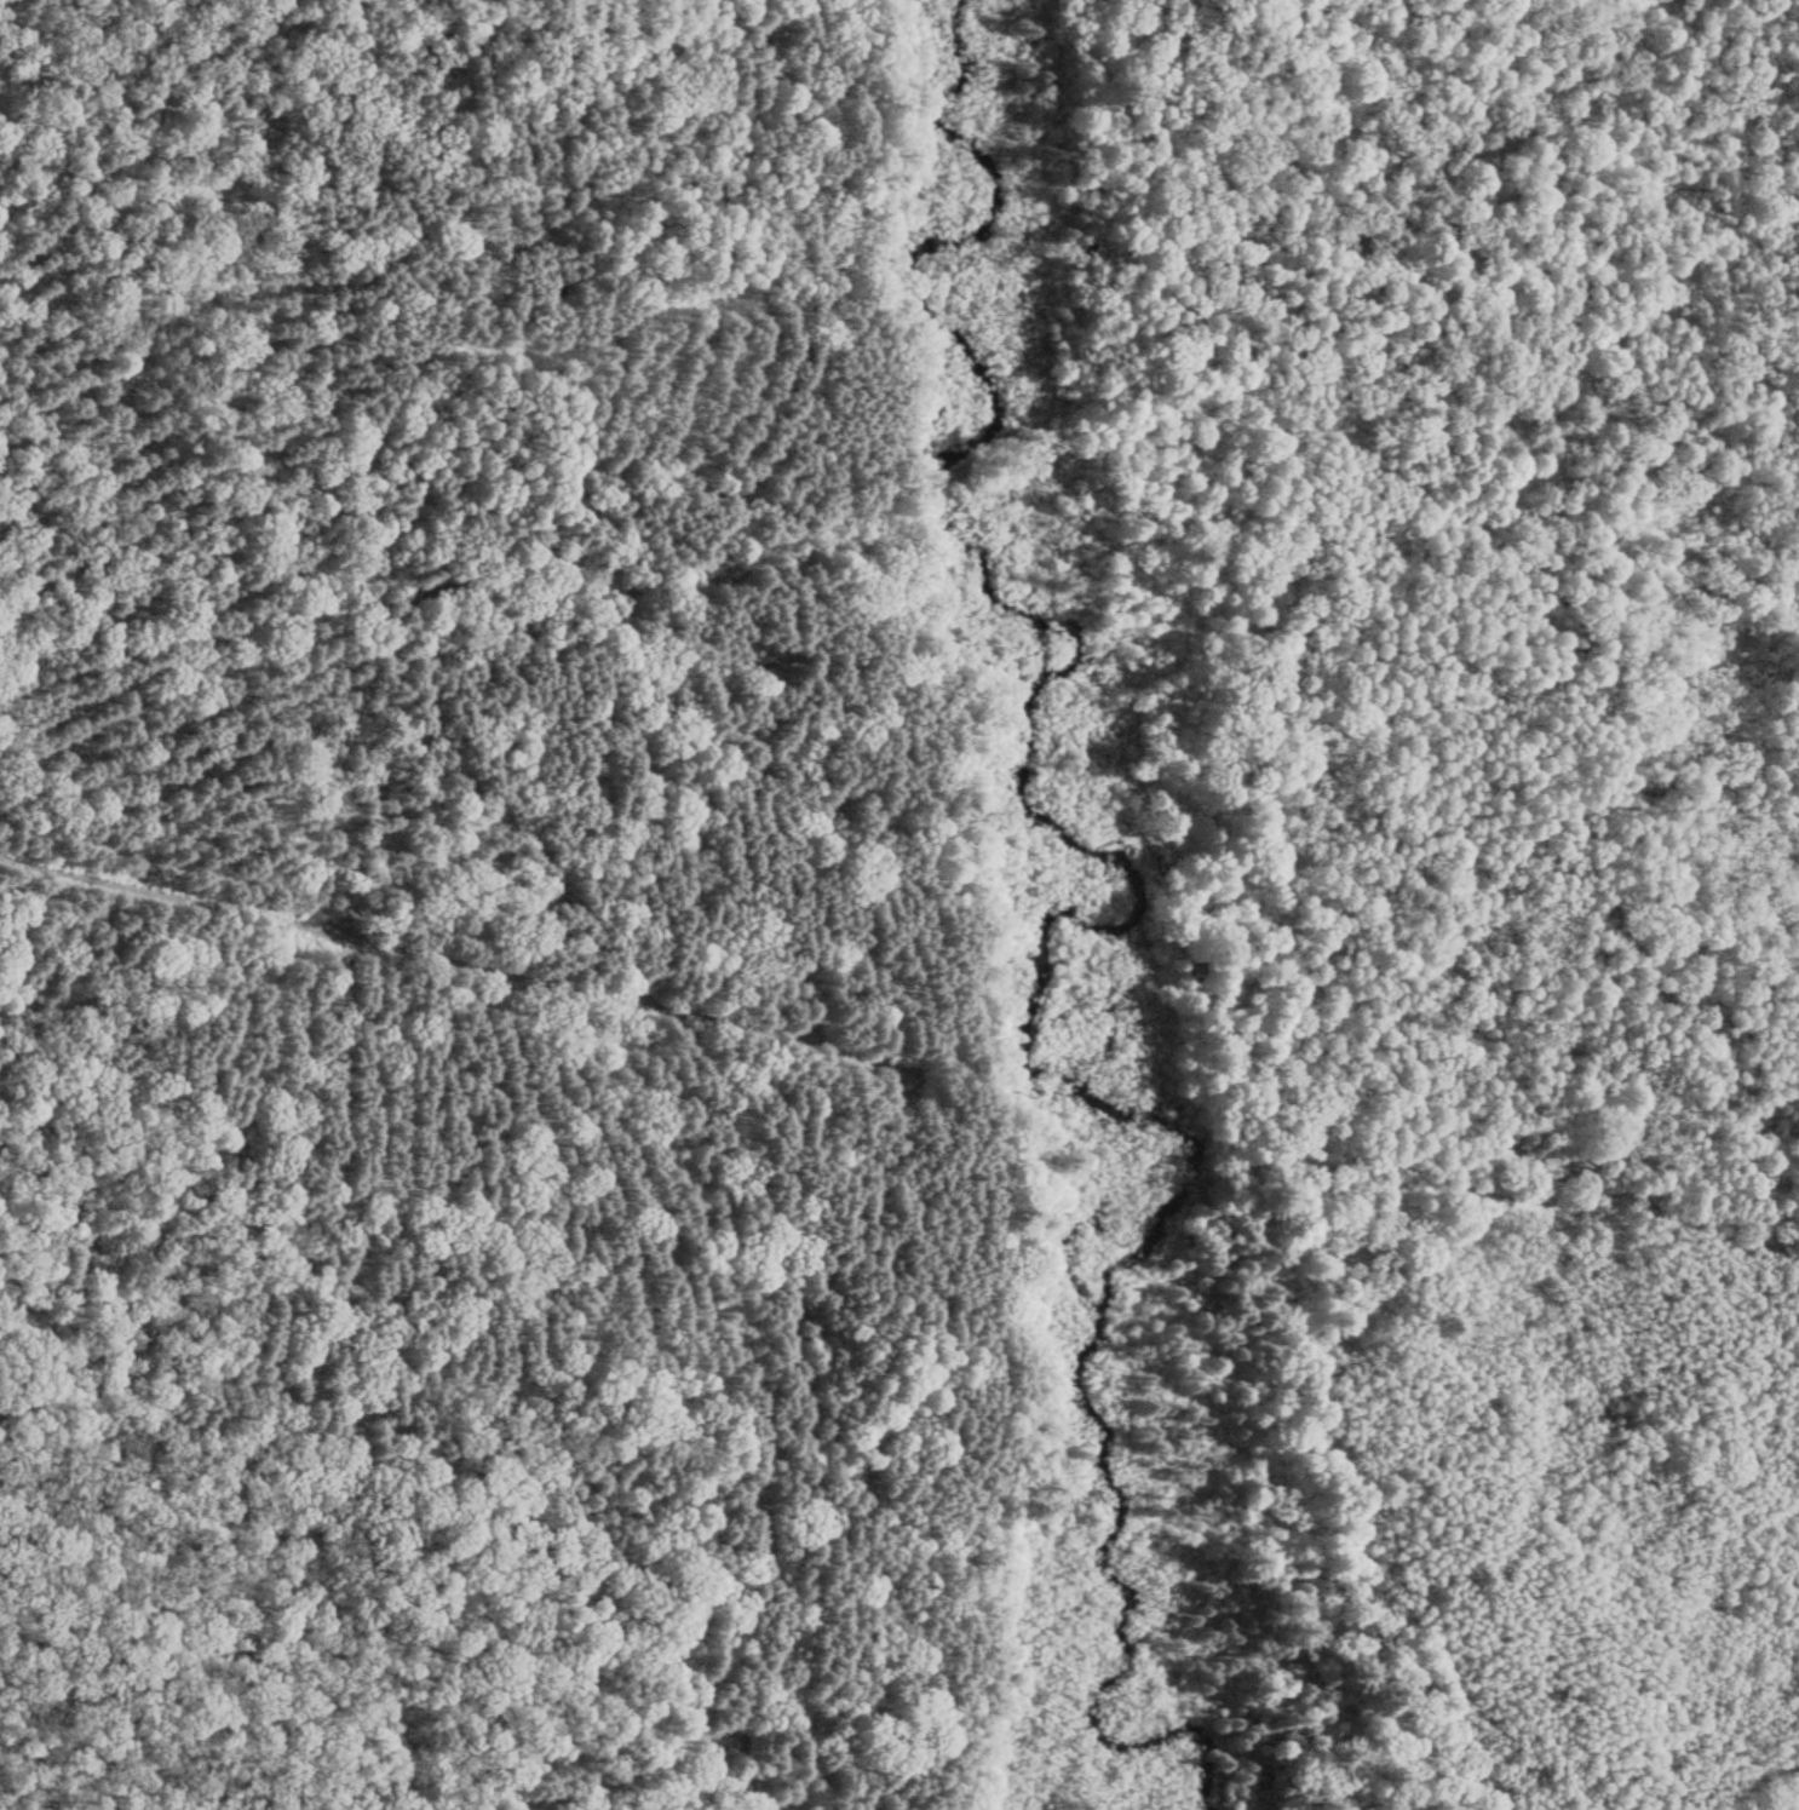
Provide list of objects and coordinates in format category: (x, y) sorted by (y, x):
road: (866, 239)
road: (1376, 318)
road: (935, 471)
road: (466, 490)
road: (656, 571)
road: (517, 816)
road: (450, 961)

